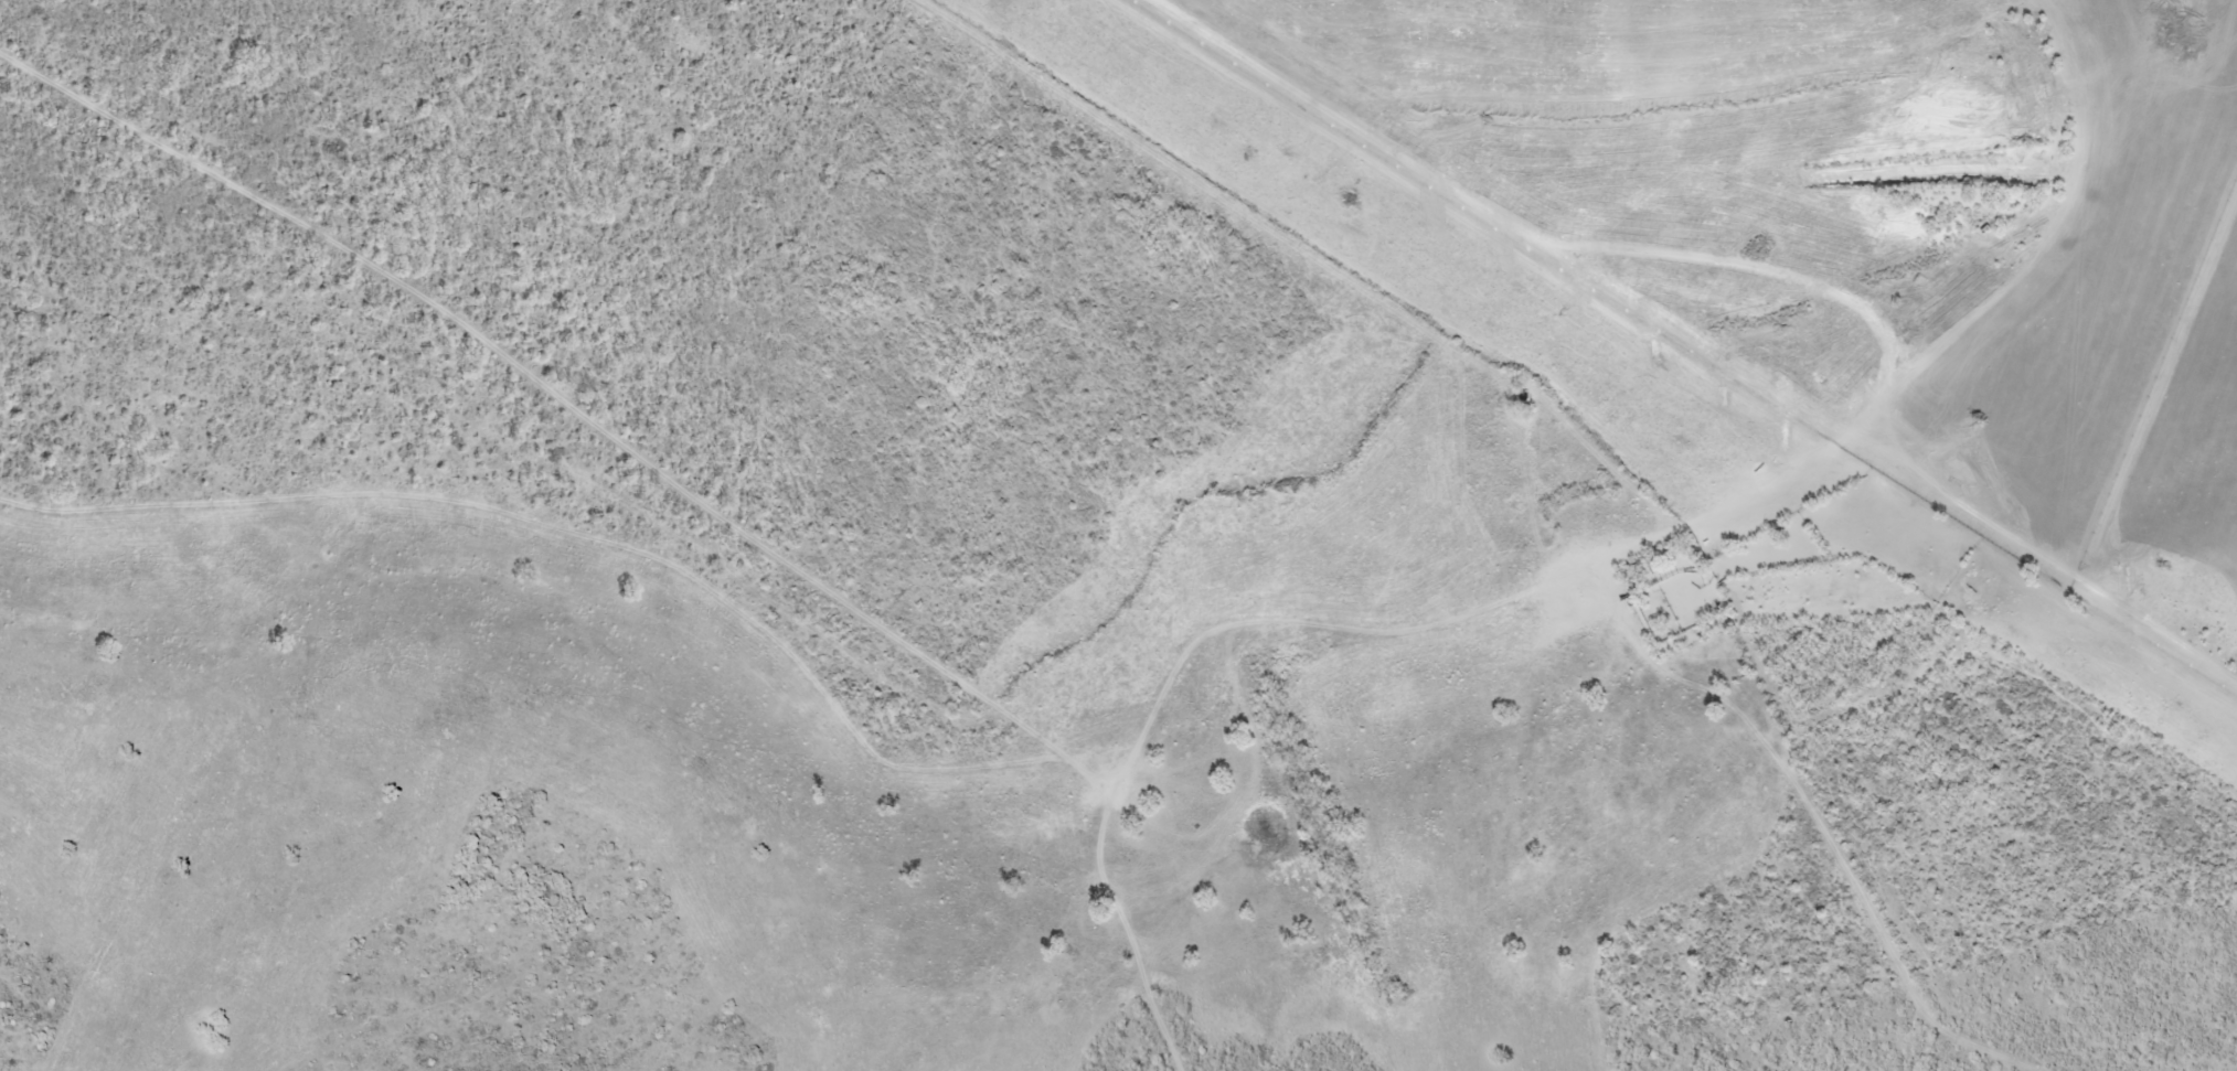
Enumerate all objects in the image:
road: (1691, 342)
road: (1587, 568)

